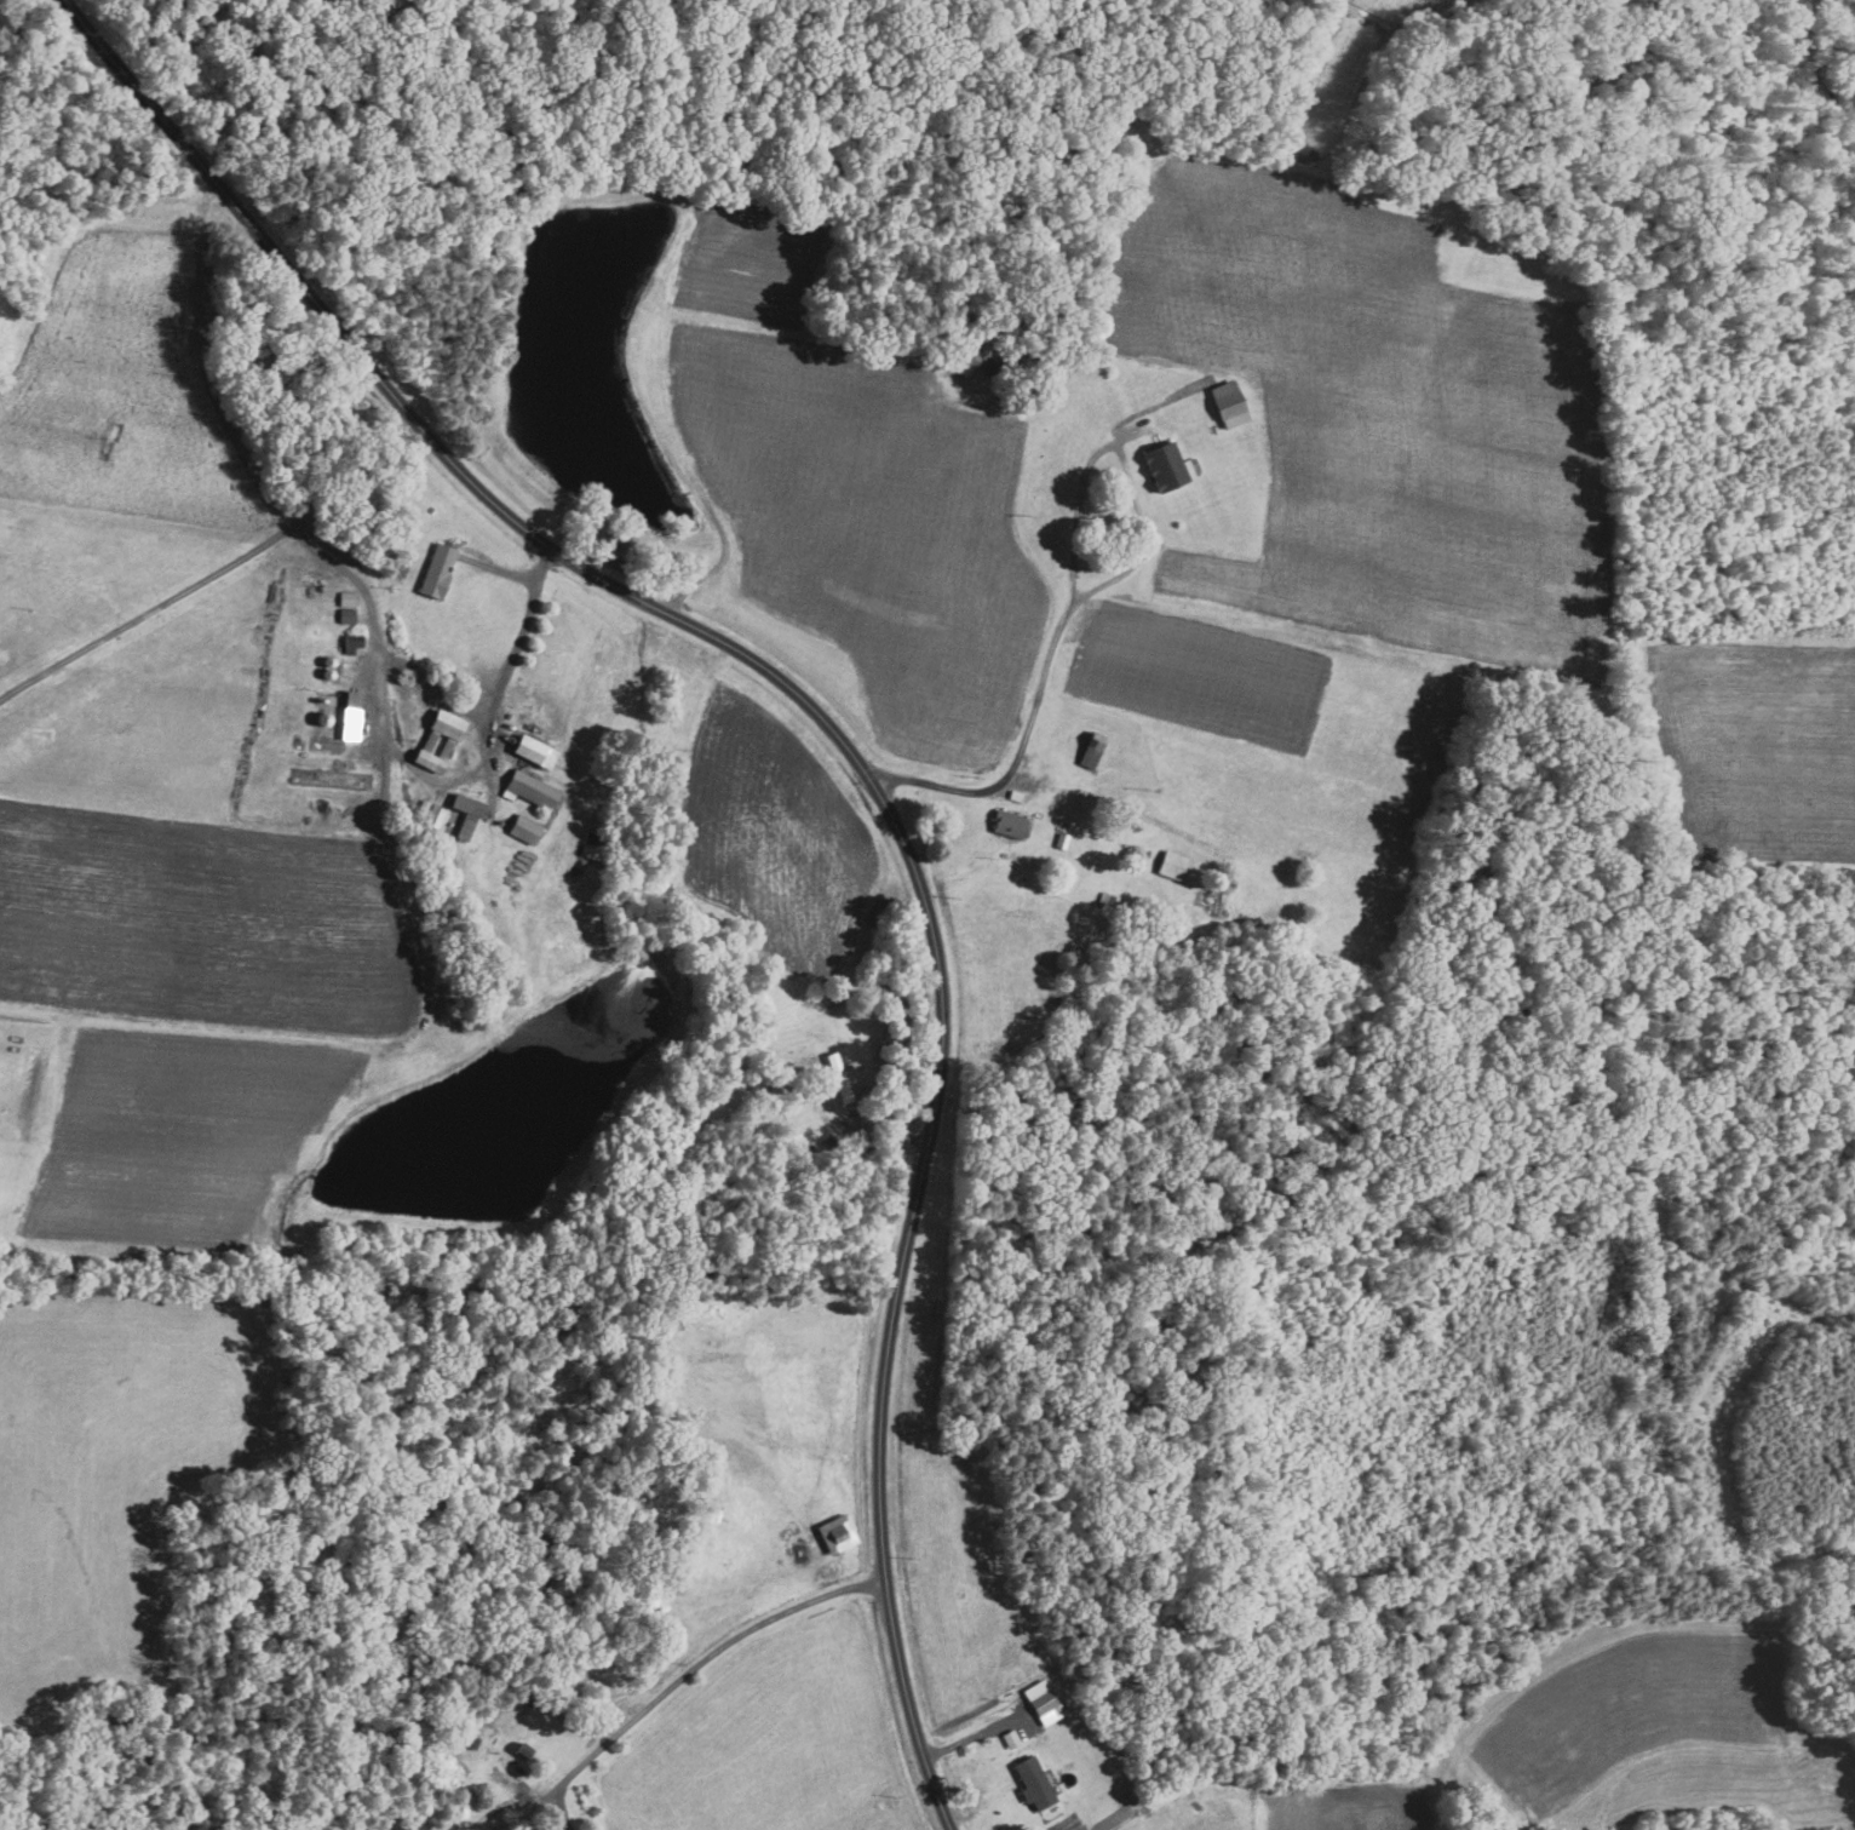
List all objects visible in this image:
building: (1227, 405)
building: (438, 573)
road: (1072, 575)
building: (346, 597)
road: (145, 613)
building: (346, 614)
building: (352, 641)
road: (433, 689)
road: (381, 695)
building: (350, 713)
building: (437, 739)
building: (1090, 748)
building: (533, 750)
road: (855, 756)
building: (529, 788)
road: (1104, 797)
building: (464, 814)
building: (1007, 822)
building: (523, 827)
building: (1170, 864)
road: (706, 1656)
building: (1045, 1706)
road: (978, 1734)
building: (1010, 1738)
building: (1033, 1782)

